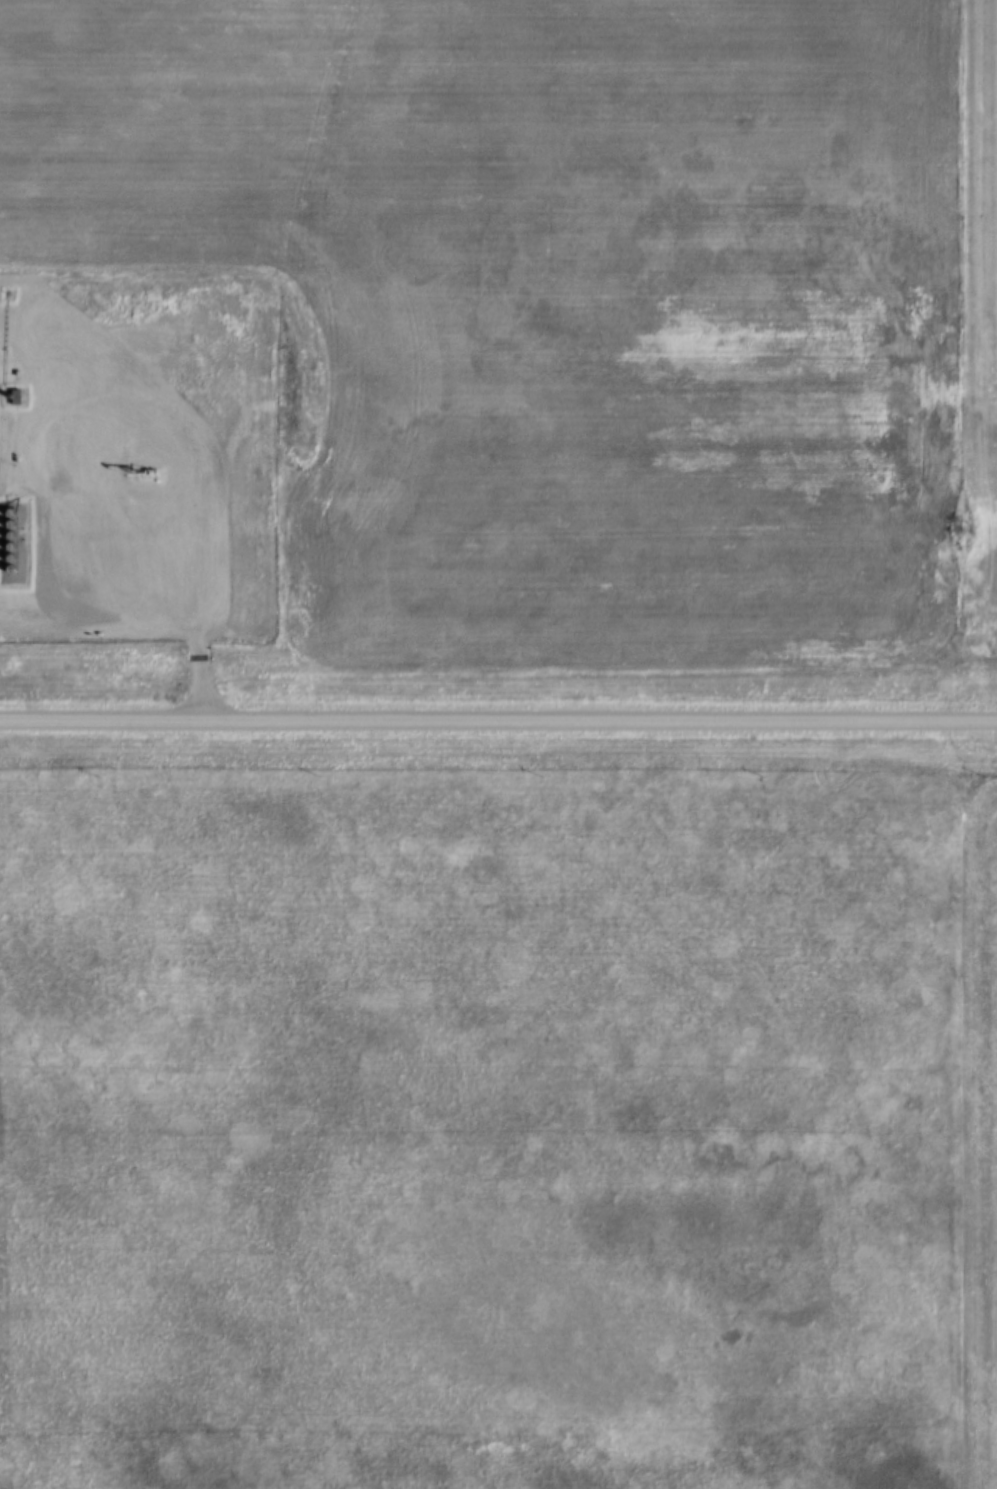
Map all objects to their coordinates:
road: (498, 726)

